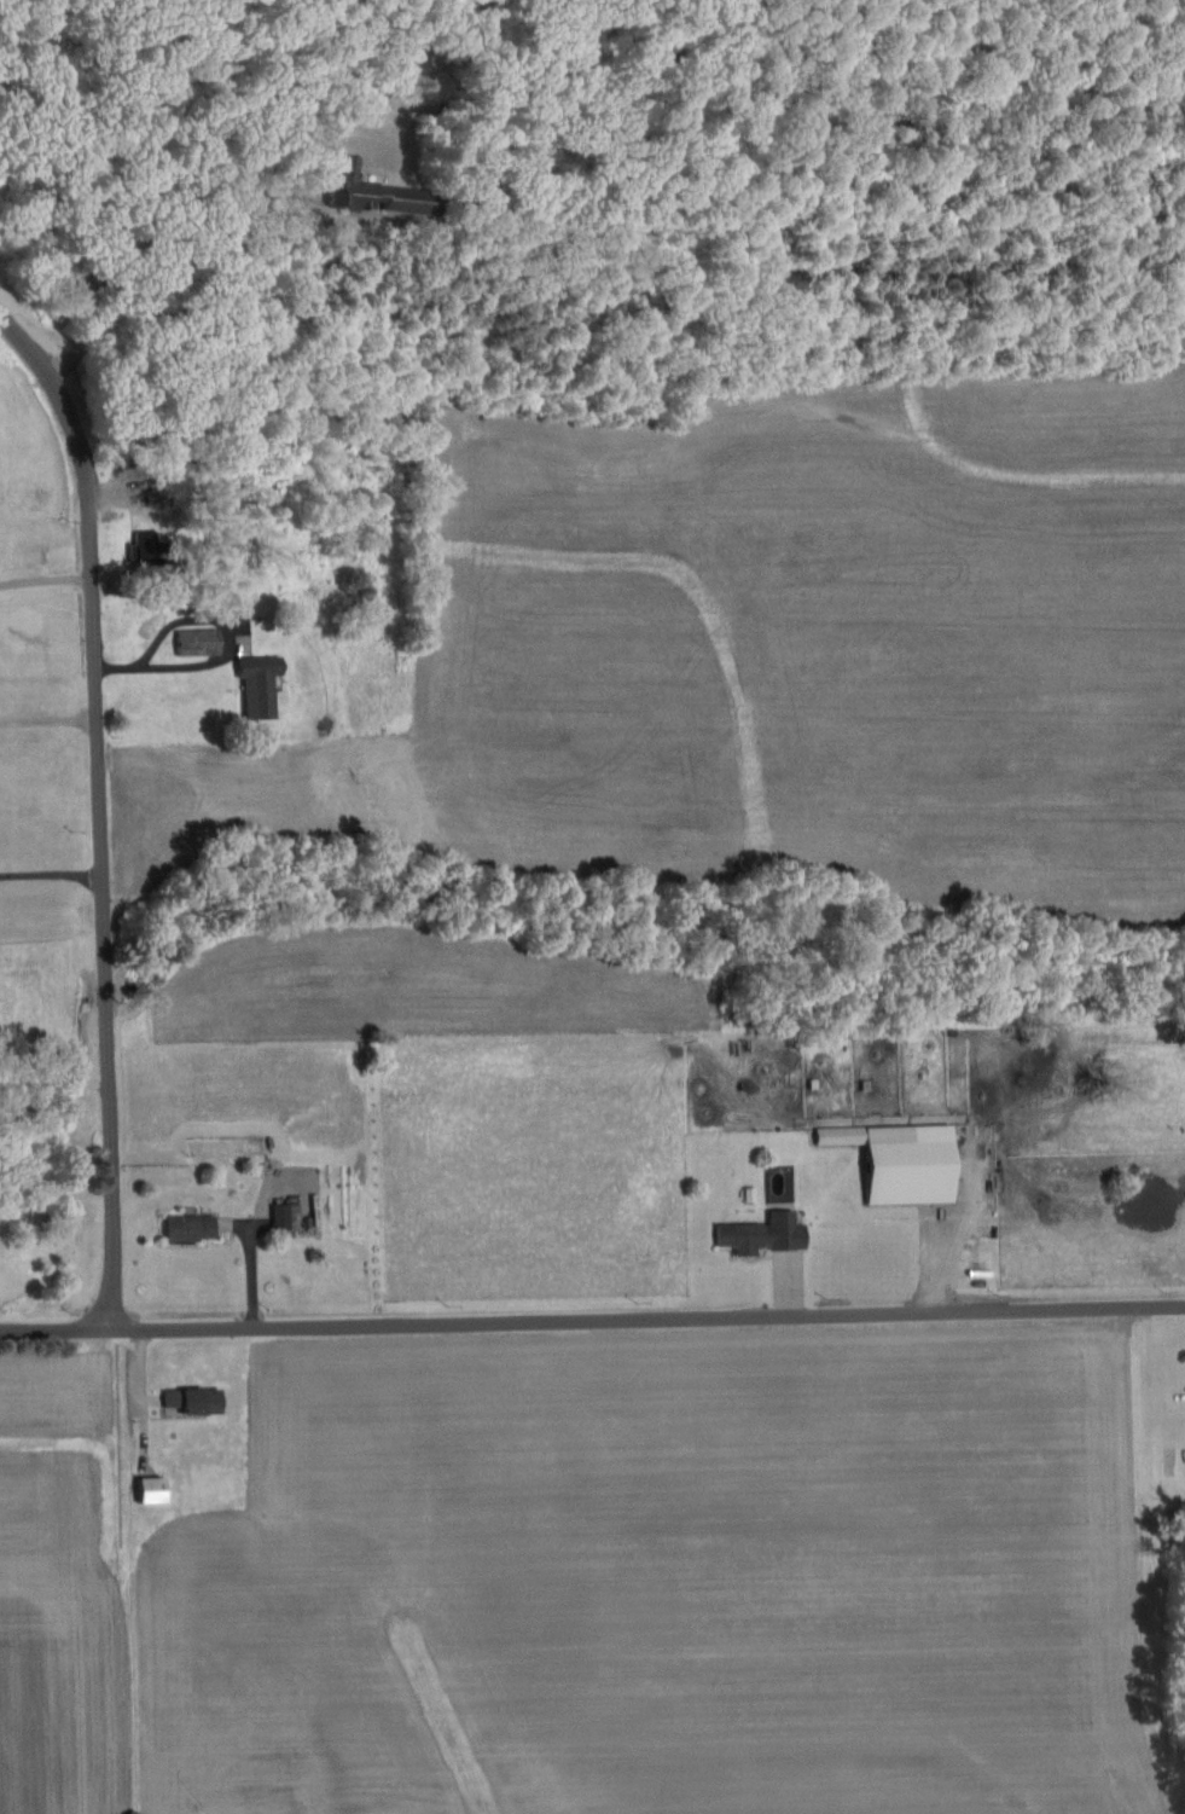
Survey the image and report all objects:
building: (355, 191)
road: (45, 563)
building: (193, 638)
road: (164, 651)
building: (252, 688)
road: (47, 717)
road: (97, 805)
road: (50, 870)
building: (894, 1161)
building: (284, 1217)
building: (184, 1228)
building: (756, 1235)
road: (592, 1326)
building: (188, 1401)
building: (144, 1491)

